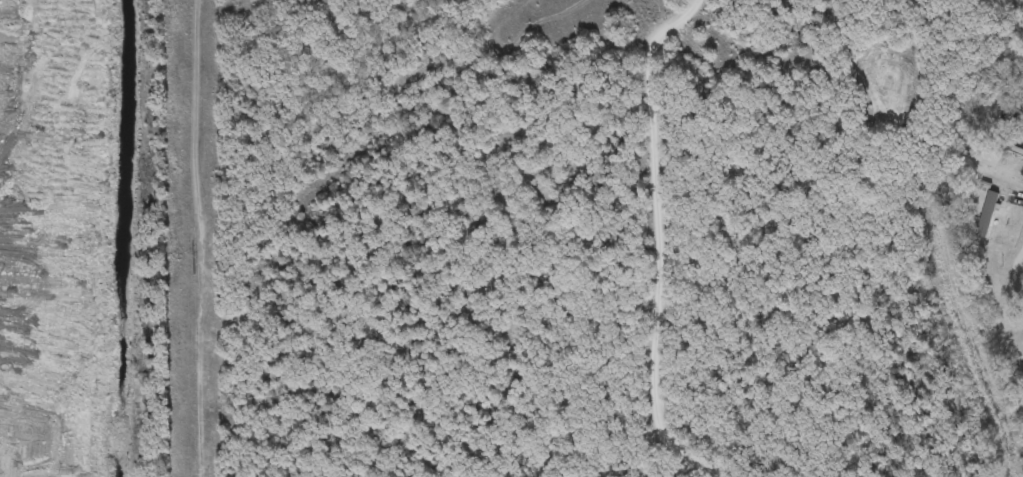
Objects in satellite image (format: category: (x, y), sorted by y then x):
building: (986, 214)
road: (1003, 308)
building: (1020, 319)

